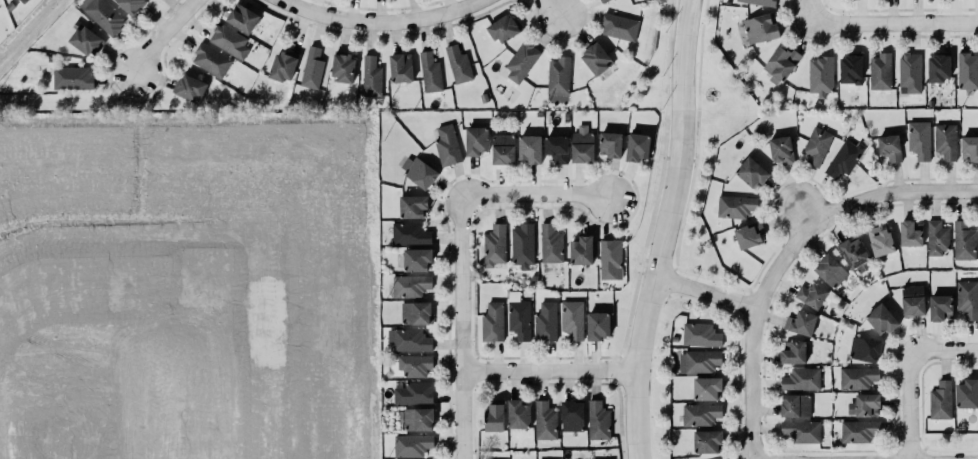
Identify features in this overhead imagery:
building: (23, 1)
building: (604, 1)
building: (759, 2)
building: (132, 5)
road: (563, 11)
road: (811, 11)
building: (103, 15)
building: (243, 18)
road: (384, 20)
road: (899, 20)
building: (620, 27)
building: (504, 28)
building: (761, 28)
road: (169, 35)
building: (87, 40)
building: (229, 41)
building: (596, 58)
building: (211, 60)
building: (522, 61)
building: (780, 62)
building: (459, 64)
building: (283, 66)
building: (343, 67)
building: (401, 67)
building: (312, 68)
building: (939, 68)
building: (851, 69)
building: (881, 71)
building: (967, 71)
building: (431, 72)
building: (909, 73)
building: (559, 75)
building: (821, 75)
building: (372, 76)
building: (73, 78)
building: (191, 88)
building: (919, 139)
building: (477, 140)
building: (946, 141)
building: (610, 144)
building: (448, 145)
building: (583, 145)
building: (816, 145)
building: (638, 146)
building: (558, 148)
building: (890, 148)
building: (970, 148)
building: (504, 149)
building: (531, 149)
building: (782, 150)
building: (845, 158)
building: (418, 171)
building: (752, 172)
road: (893, 191)
road: (536, 193)
building: (414, 206)
building: (736, 206)
road: (805, 210)
road: (665, 230)
building: (410, 234)
building: (910, 234)
building: (751, 235)
building: (938, 237)
building: (881, 241)
building: (964, 241)
building: (551, 244)
building: (495, 245)
building: (523, 245)
building: (582, 250)
building: (856, 254)
building: (610, 258)
building: (417, 259)
building: (830, 270)
building: (411, 285)
road: (708, 290)
building: (812, 295)
building: (968, 299)
building: (914, 305)
building: (941, 307)
building: (416, 312)
building: (519, 316)
building: (572, 319)
building: (882, 319)
building: (493, 322)
building: (546, 322)
building: (801, 323)
building: (598, 325)
road: (464, 331)
road: (755, 332)
building: (701, 335)
building: (410, 340)
building: (865, 349)
building: (793, 352)
road: (947, 353)
building: (699, 362)
building: (414, 365)
road: (550, 371)
building: (858, 377)
building: (802, 379)
building: (707, 388)
building: (414, 393)
building: (967, 394)
building: (941, 400)
building: (796, 405)
building: (865, 405)
road: (914, 406)
building: (519, 414)
building: (701, 414)
building: (572, 415)
building: (495, 416)
building: (417, 419)
building: (545, 420)
building: (598, 420)
building: (800, 431)
building: (859, 431)
building: (707, 441)
building: (412, 445)
building: (721, 458)

